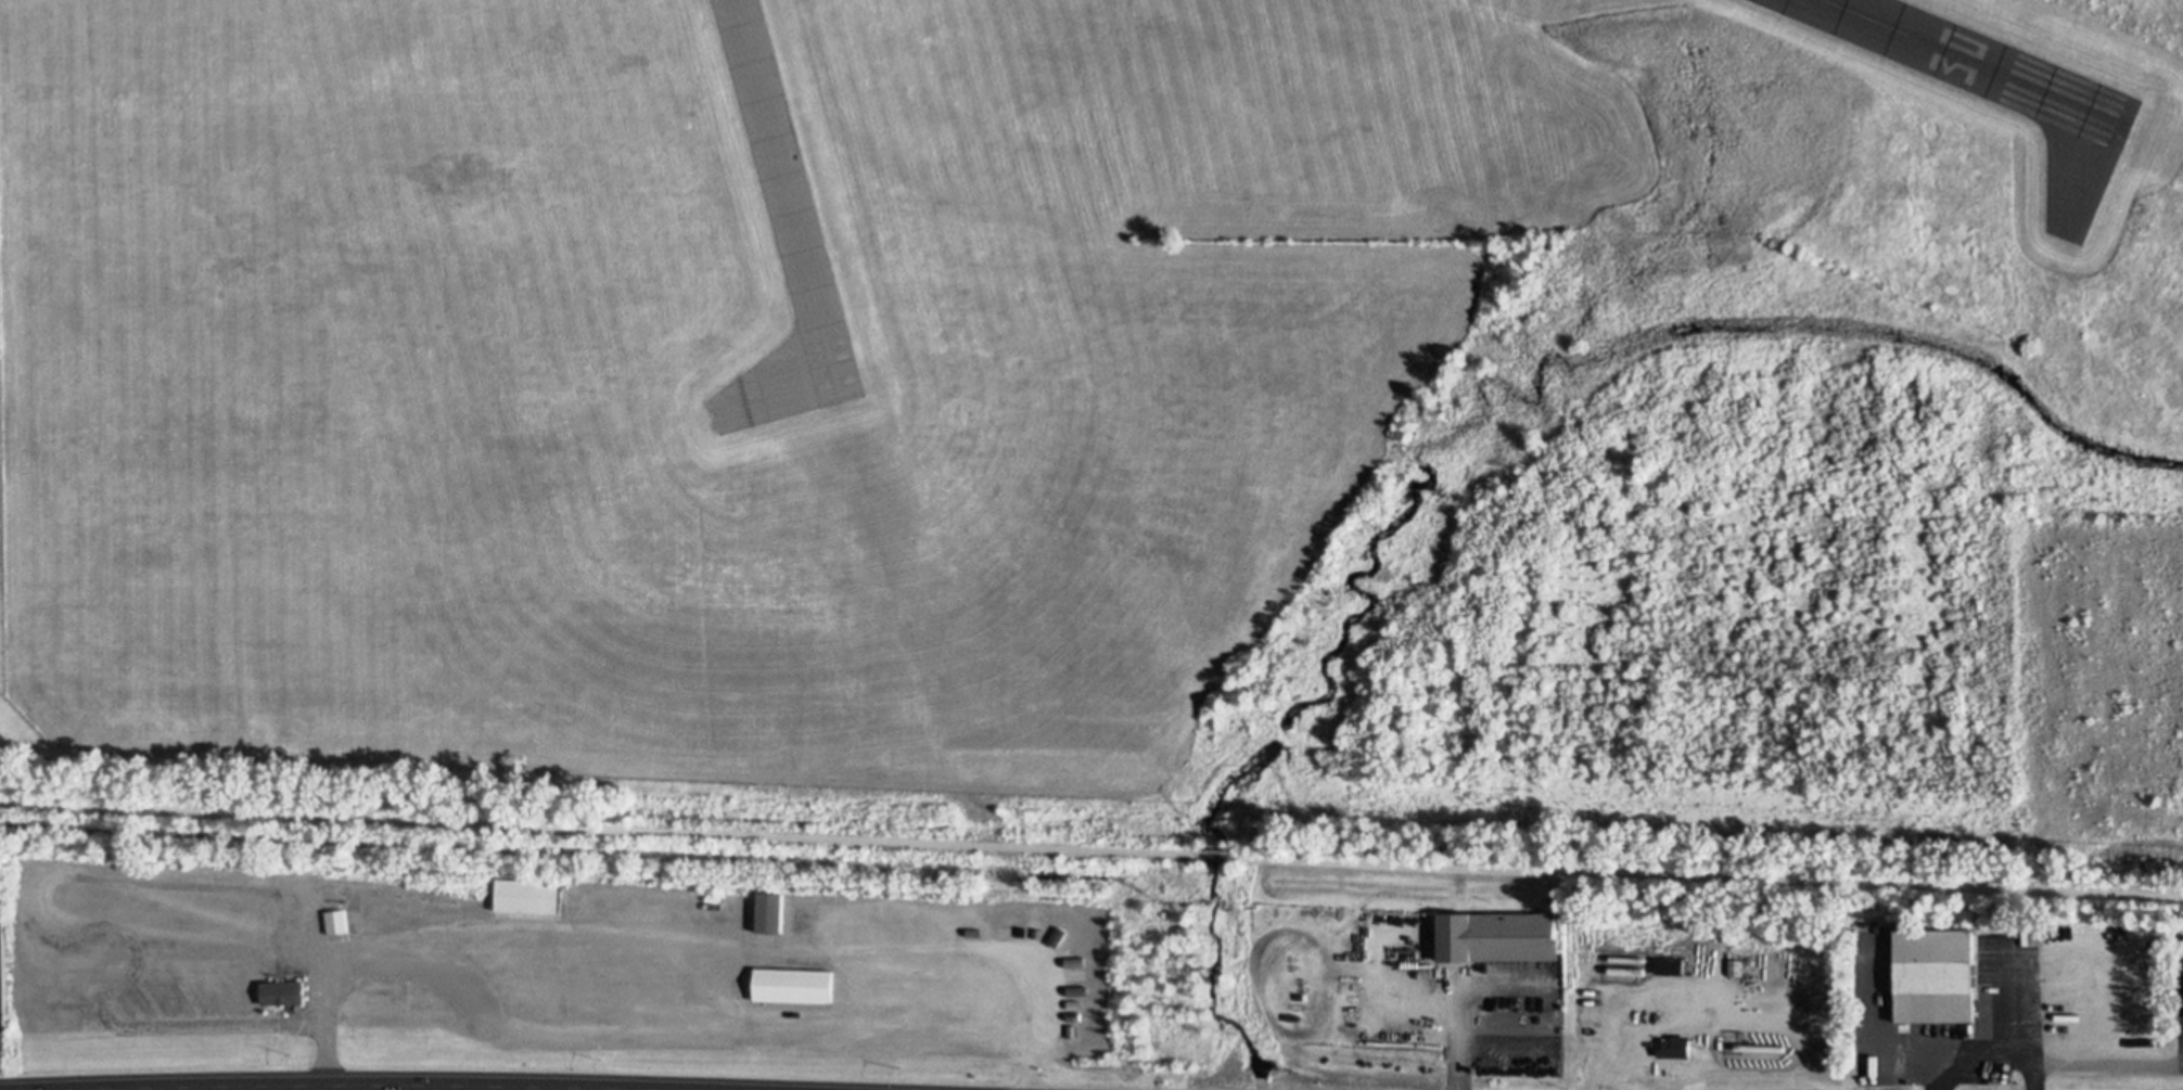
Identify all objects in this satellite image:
building: (711, 1)
airport runway: (1964, 55)
airport runway: (781, 182)
airport: (1114, 398)
road: (596, 825)
road: (1213, 854)
road: (1708, 875)
building: (528, 895)
building: (771, 912)
building: (336, 921)
building: (1501, 936)
building: (3, 954)
building: (1670, 965)
building: (1941, 967)
building: (793, 985)
building: (283, 992)
road: (1461, 996)
road: (2035, 1020)
building: (1675, 1046)
road: (2045, 1065)

